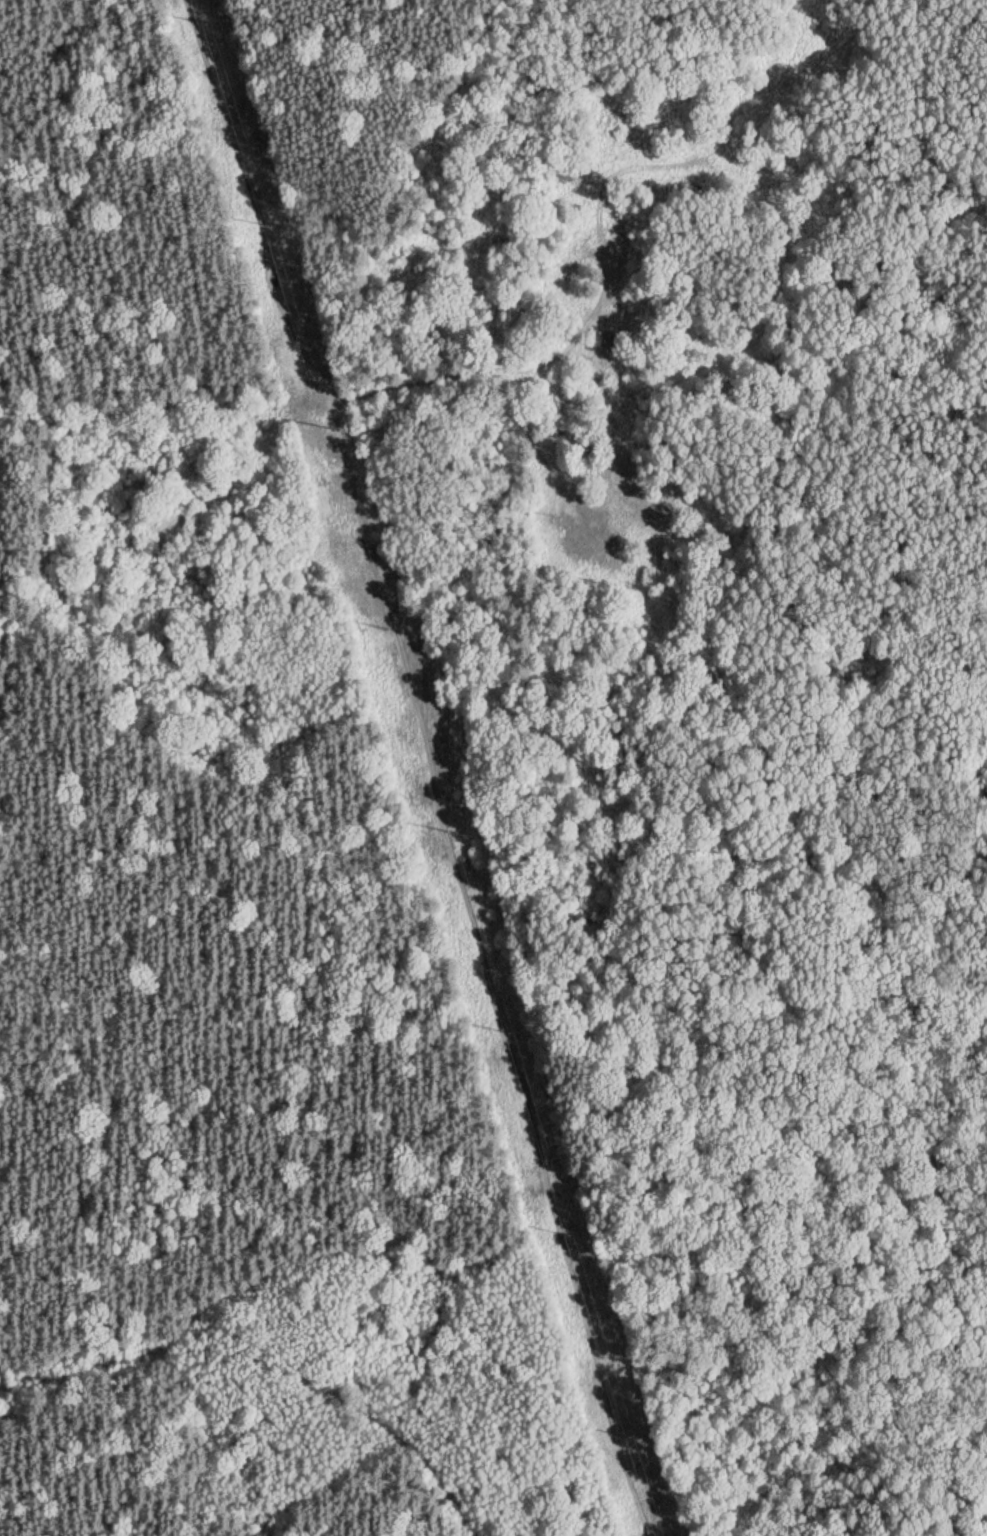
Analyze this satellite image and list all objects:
road: (598, 245)
road: (432, 764)
road: (947, 1172)

